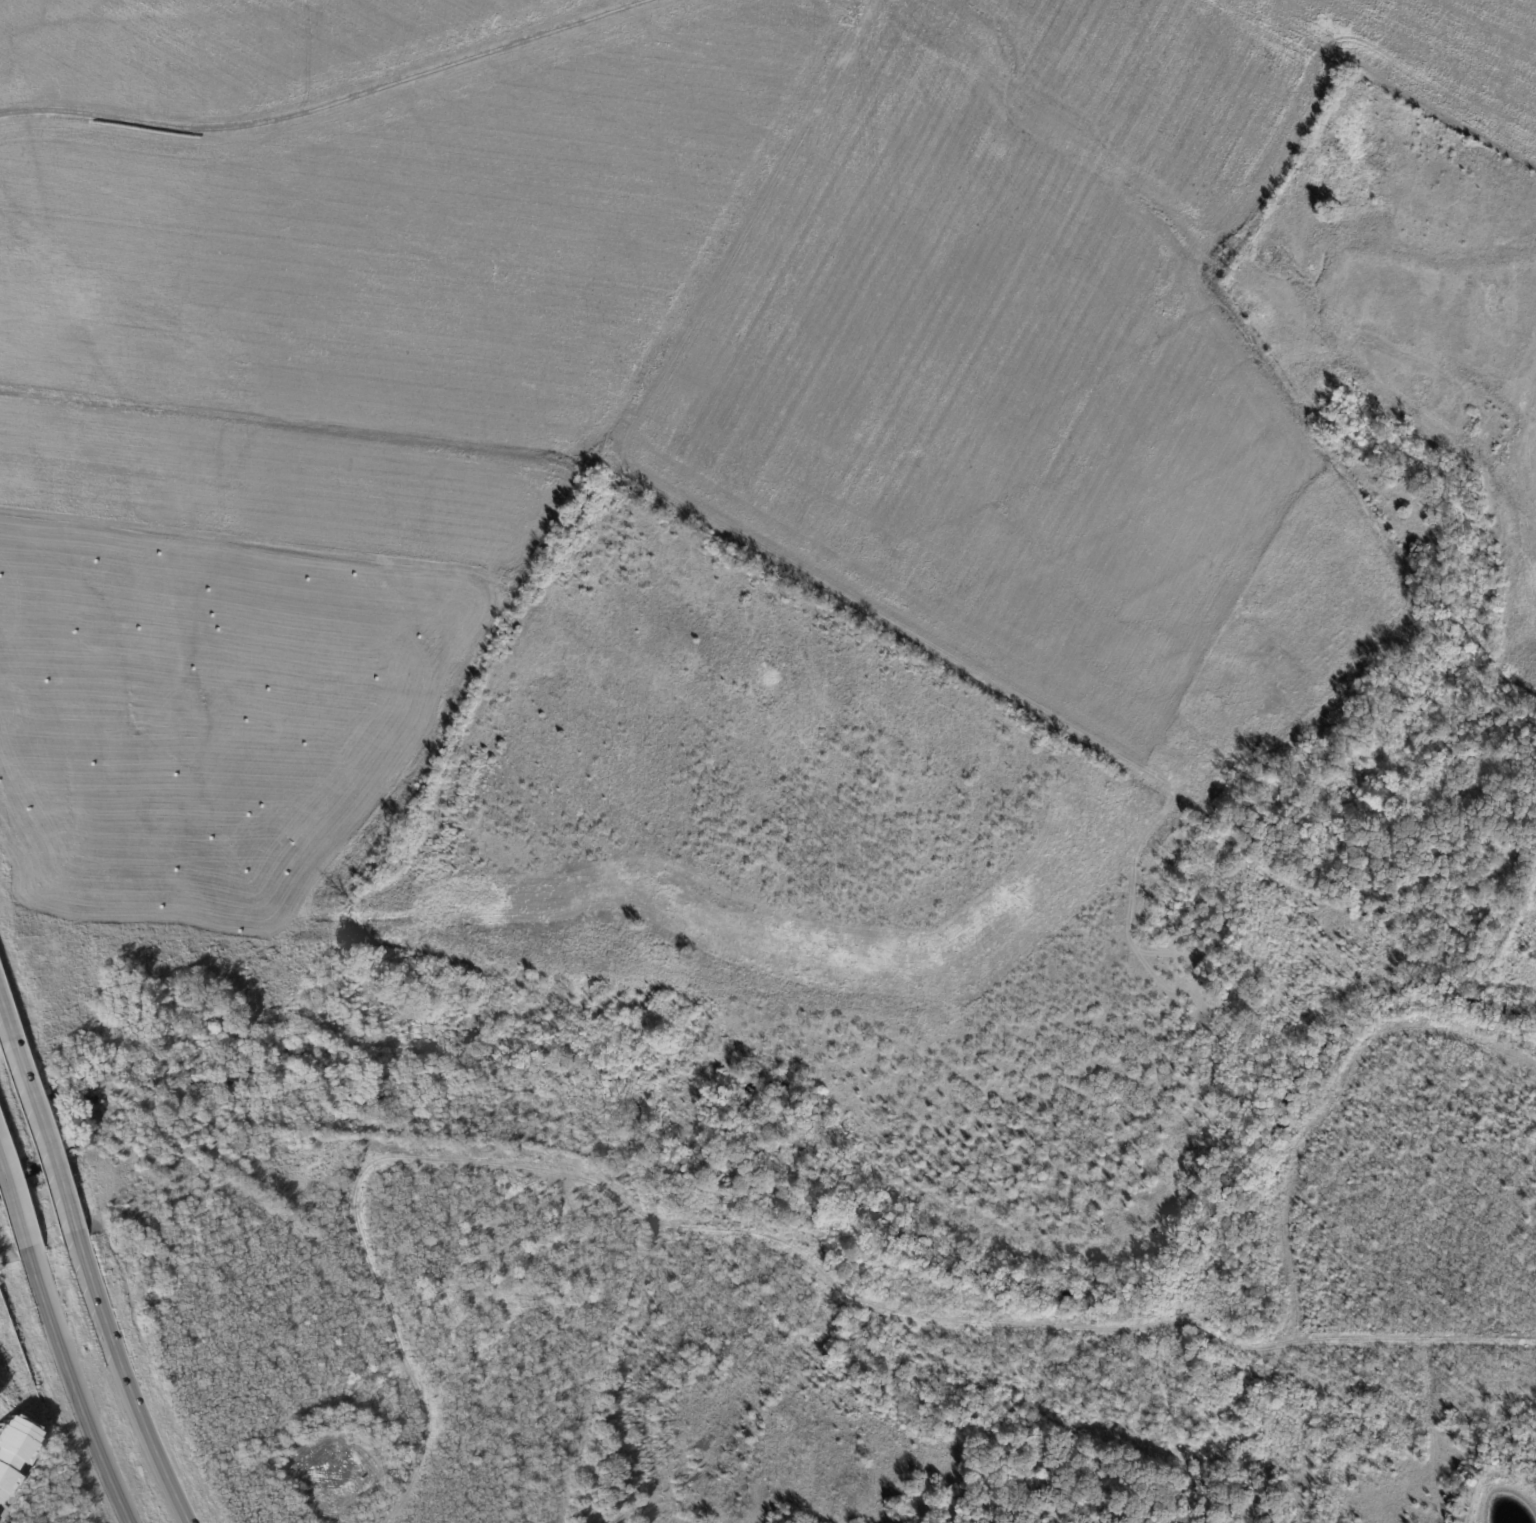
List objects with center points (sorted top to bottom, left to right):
road: (38, 1126)
road: (16, 1210)
road: (127, 1384)
road: (78, 1391)
building: (15, 1449)

